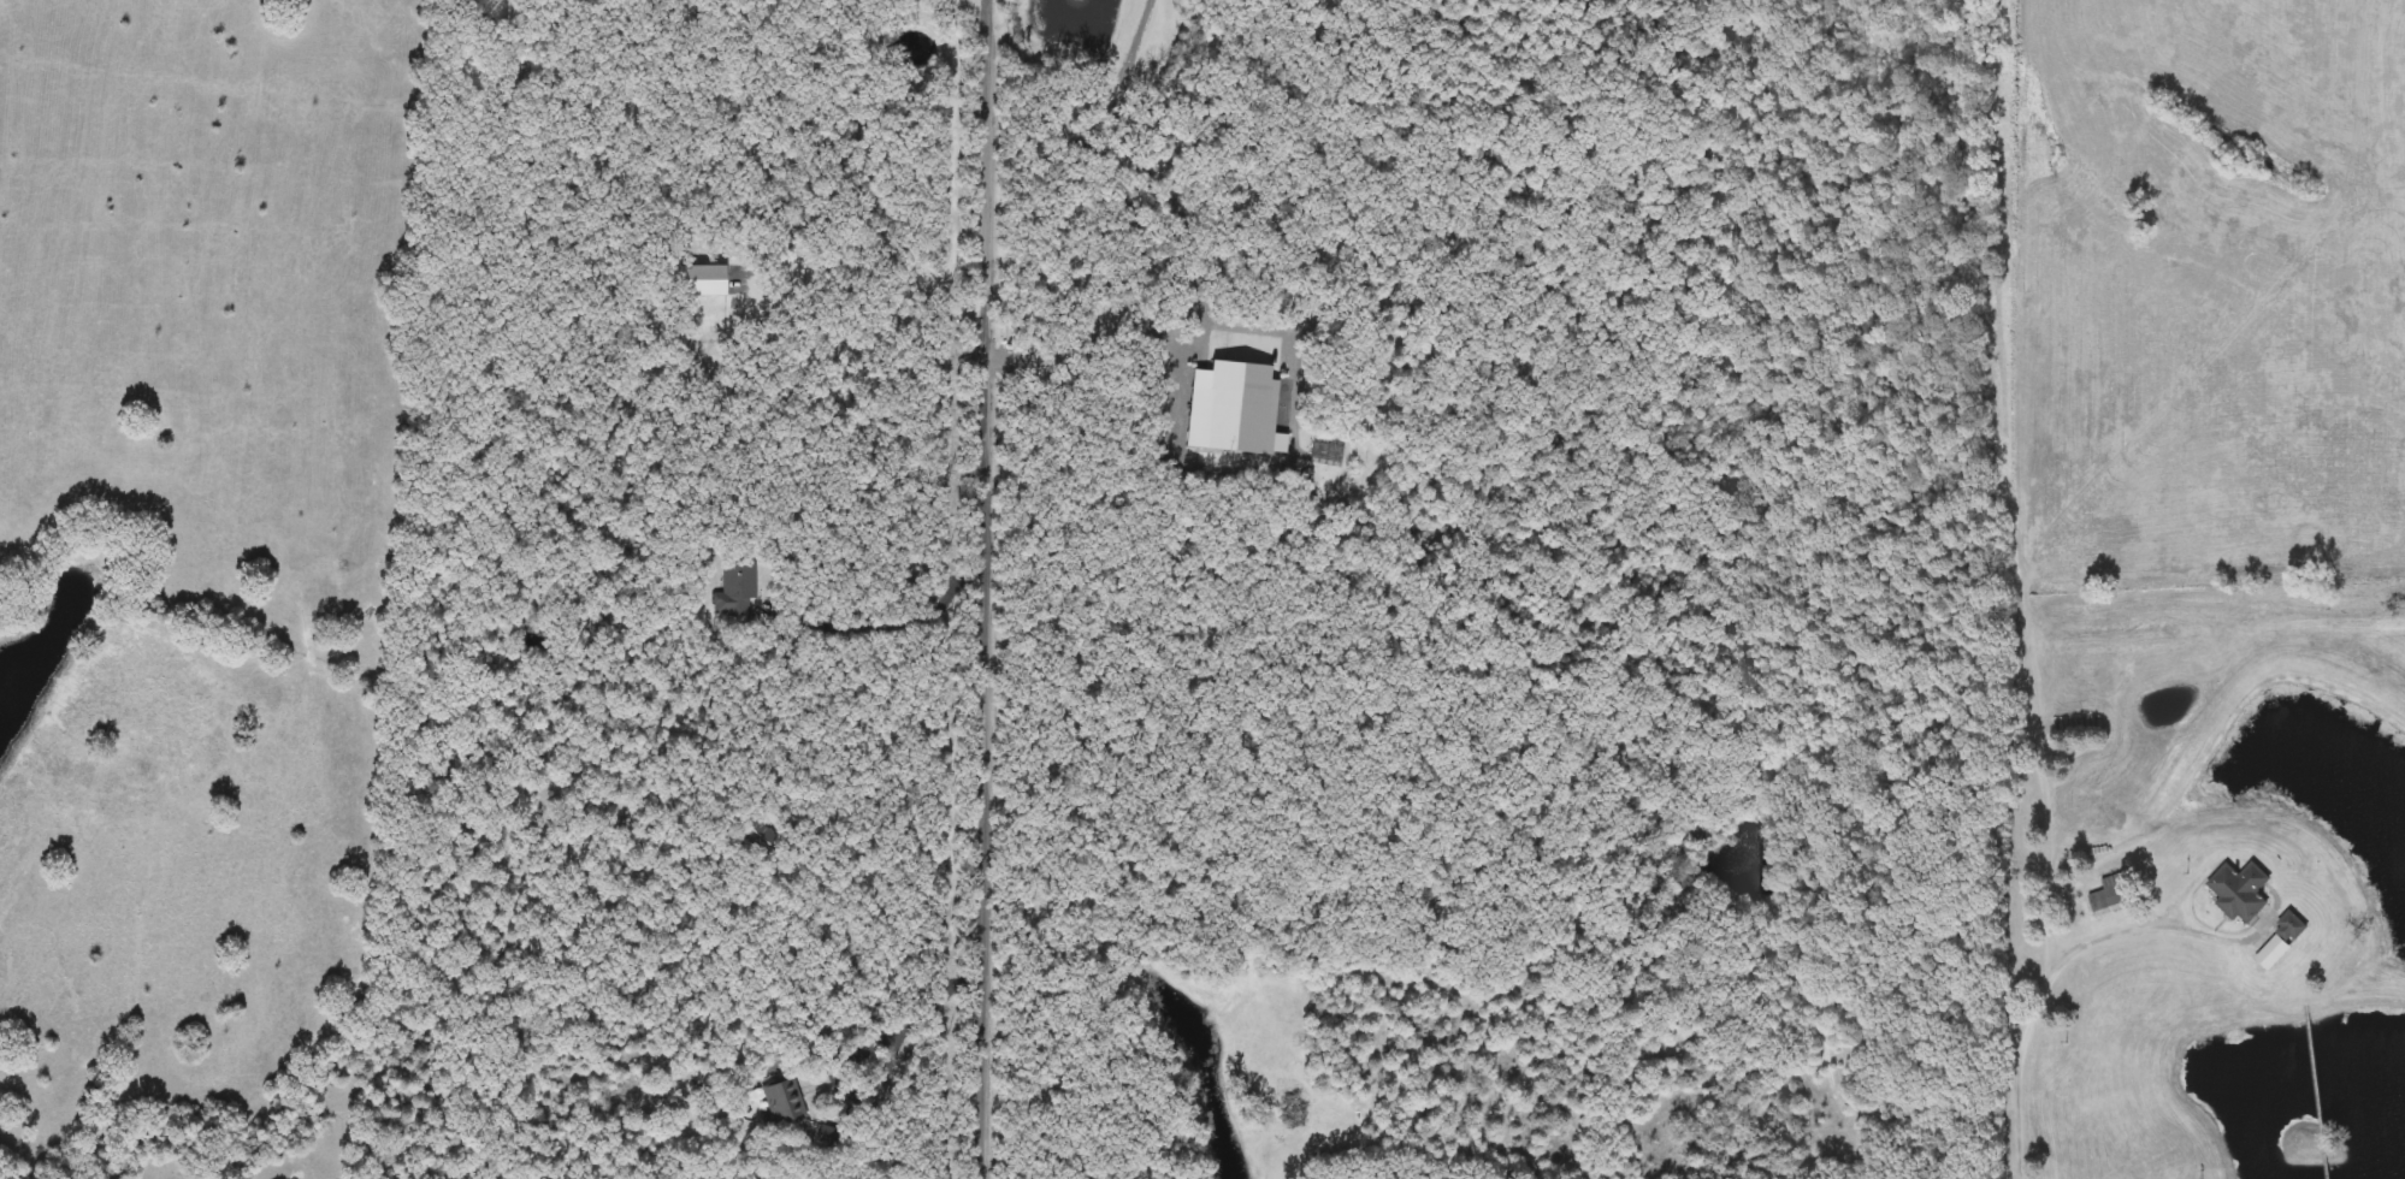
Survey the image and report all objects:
road: (869, 265)
road: (1089, 324)
building: (1233, 409)
road: (981, 588)
building: (735, 591)
road: (892, 627)
building: (755, 835)
building: (2240, 893)
building: (2112, 896)
building: (2292, 926)
road: (2051, 972)
road: (862, 1053)
building: (782, 1103)

